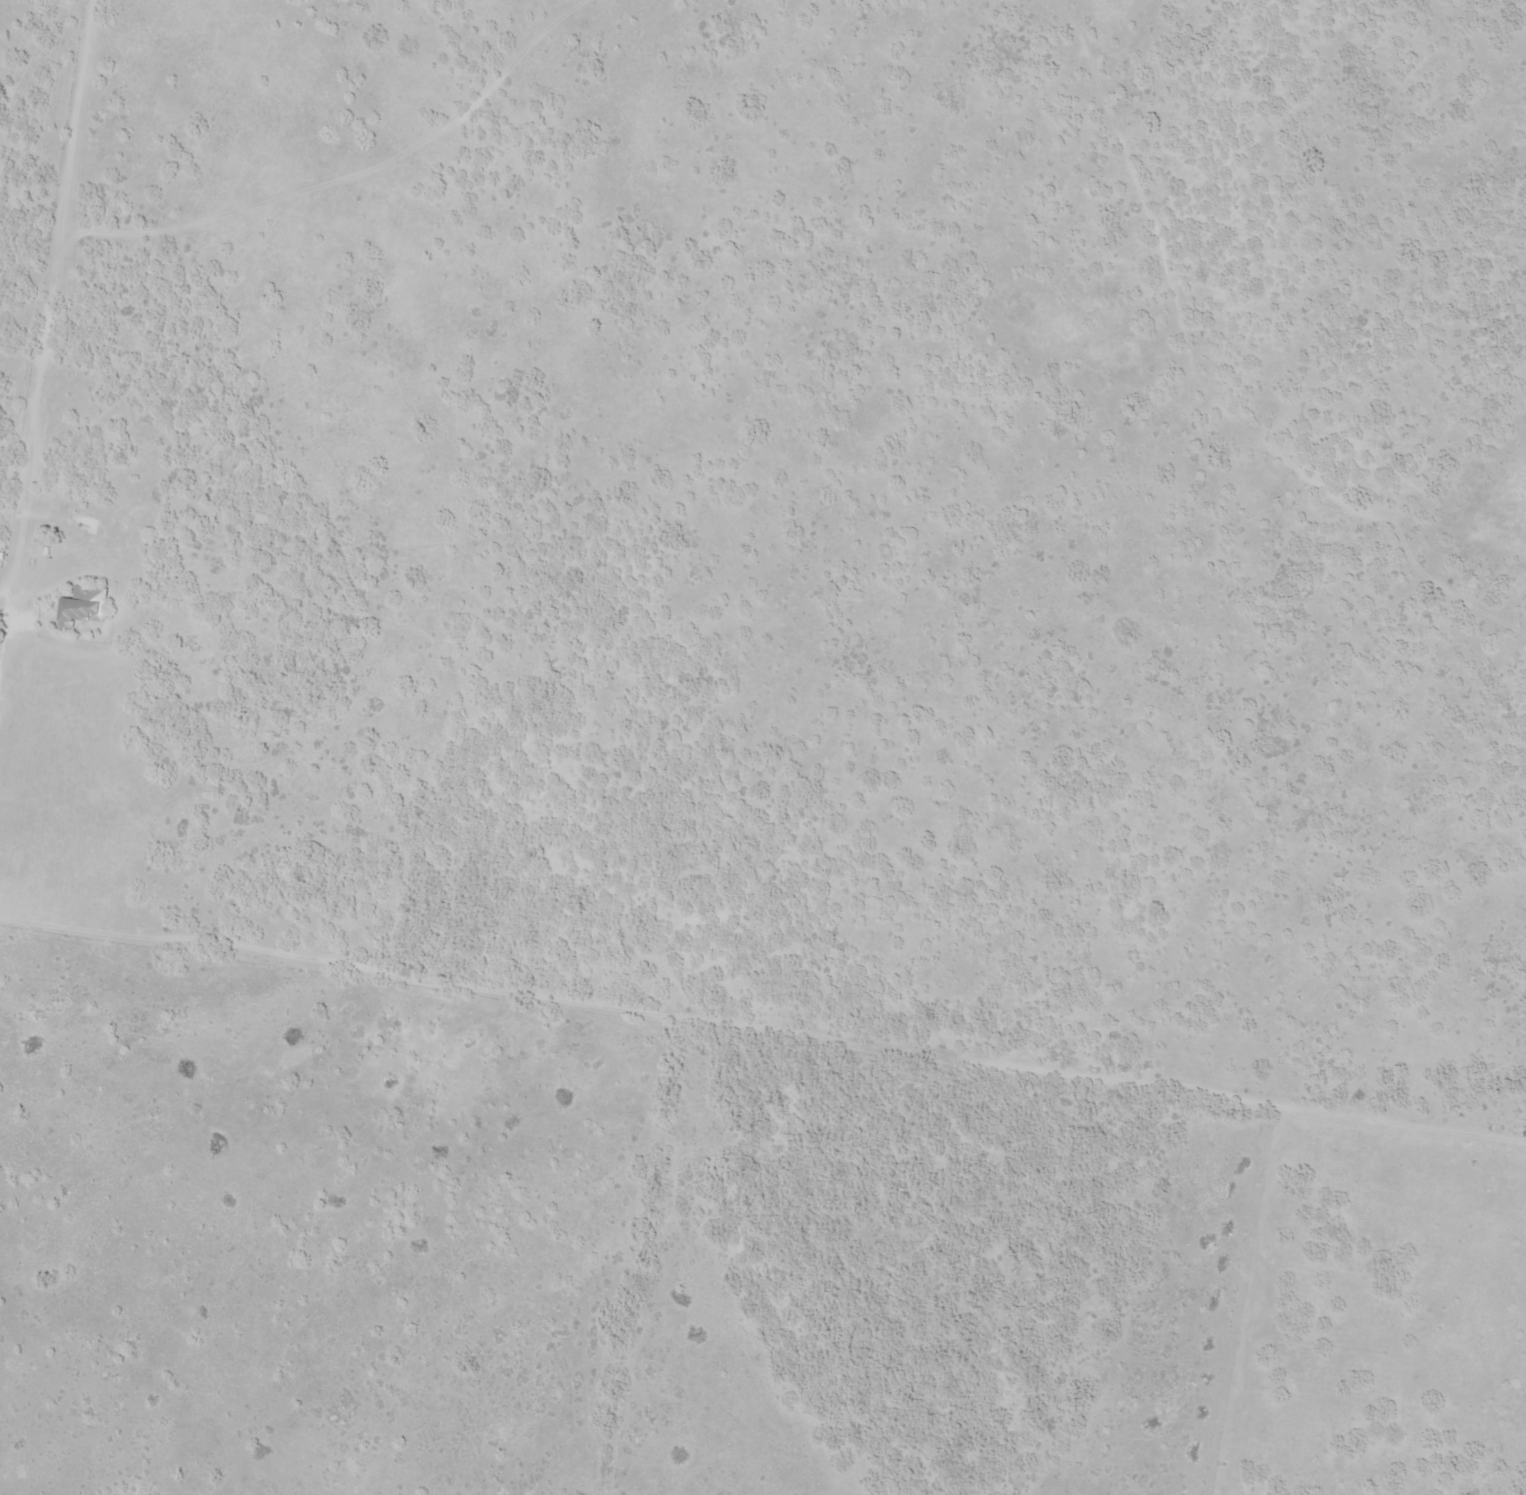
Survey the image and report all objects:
building: (87, 523)
building: (84, 606)

